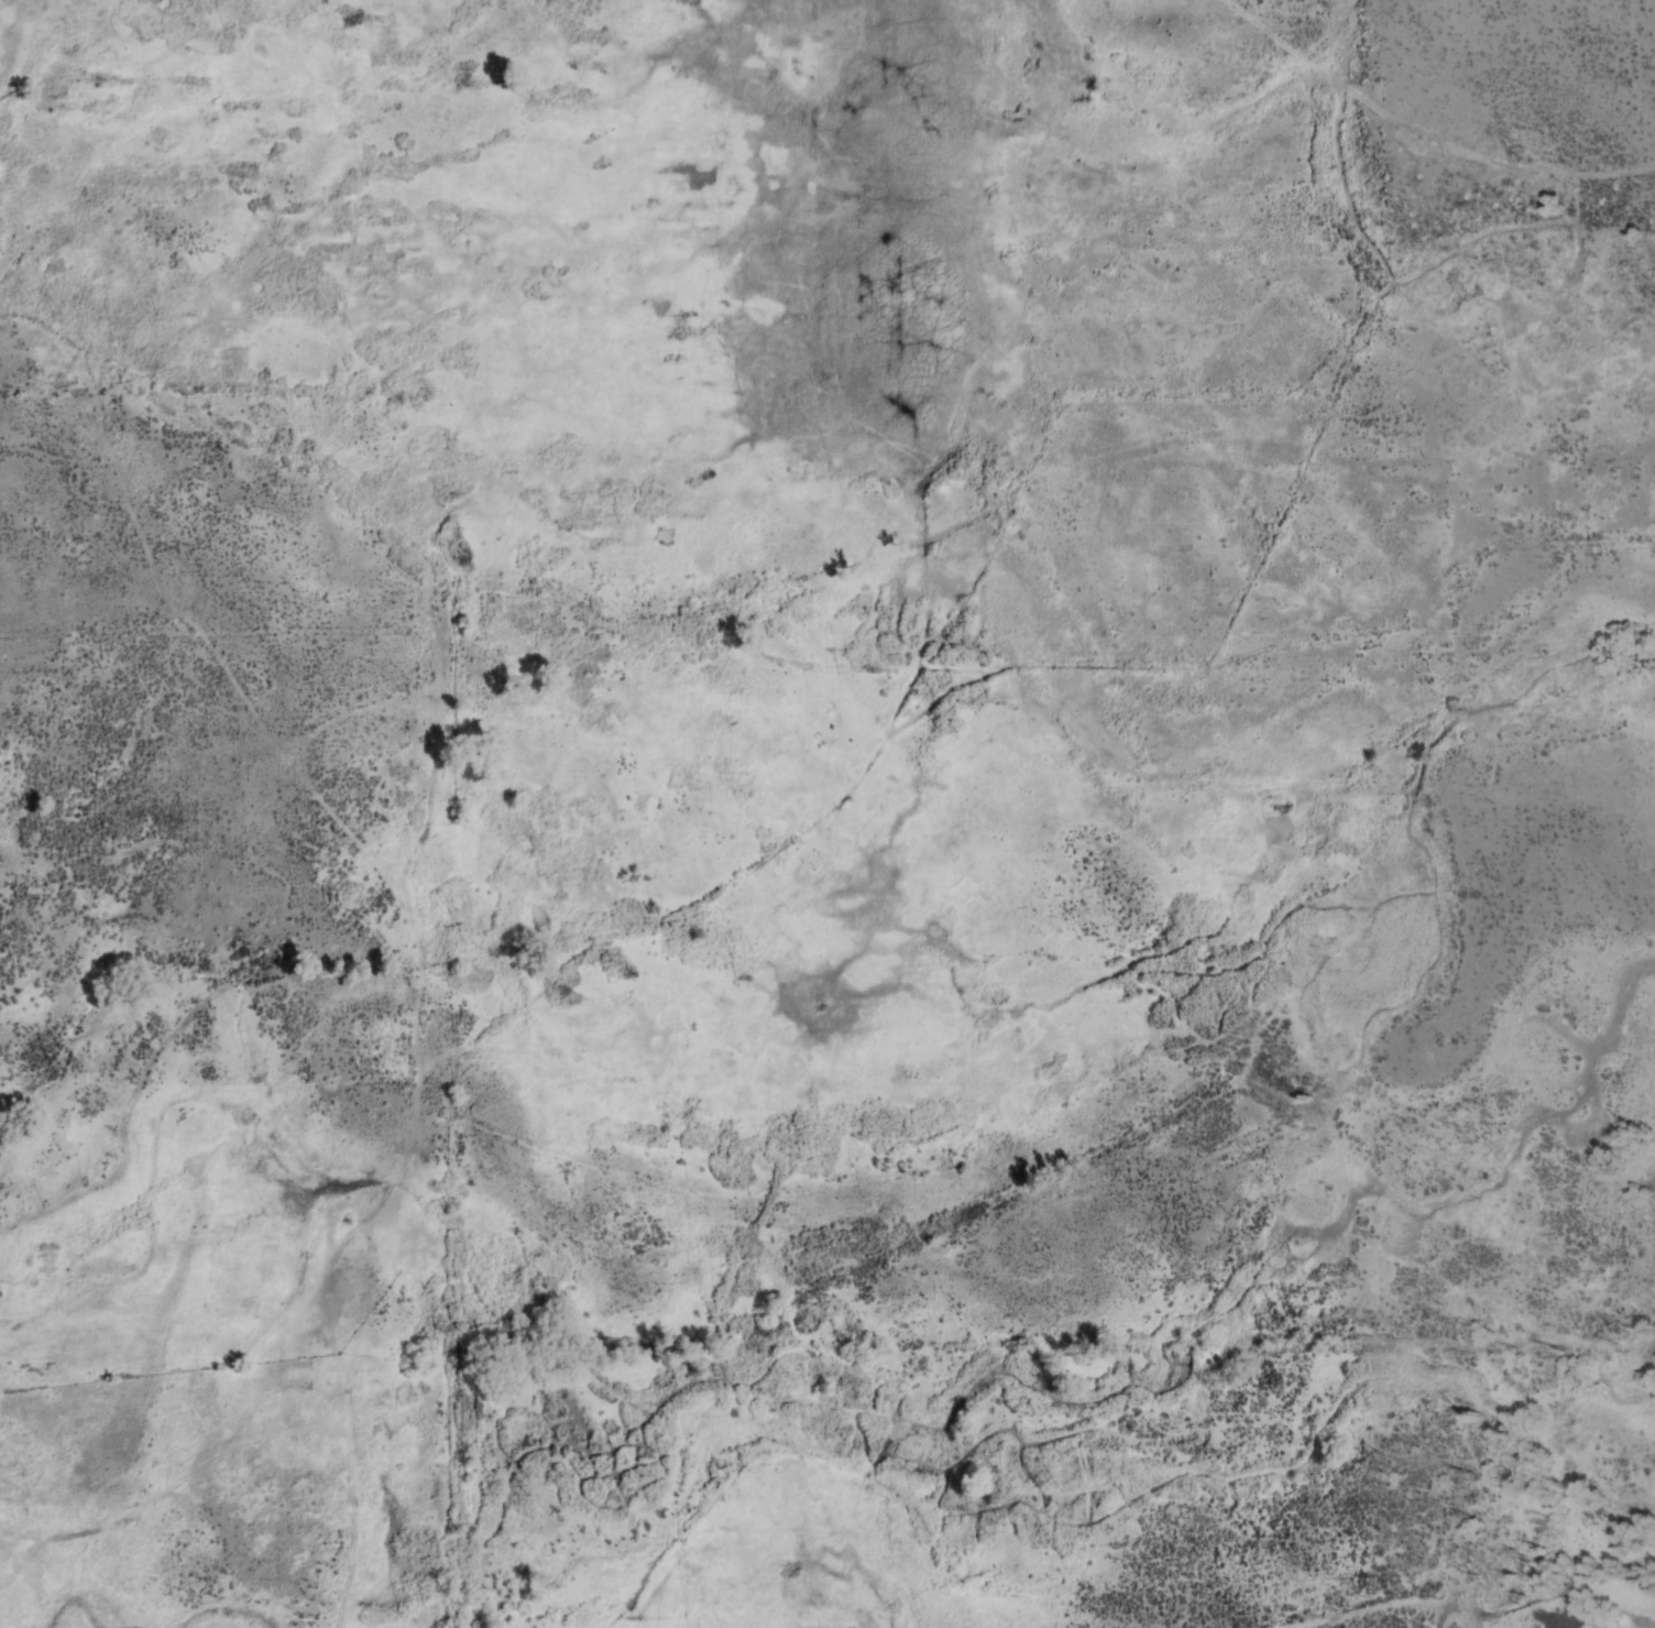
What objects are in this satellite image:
road: (1428, 125)

